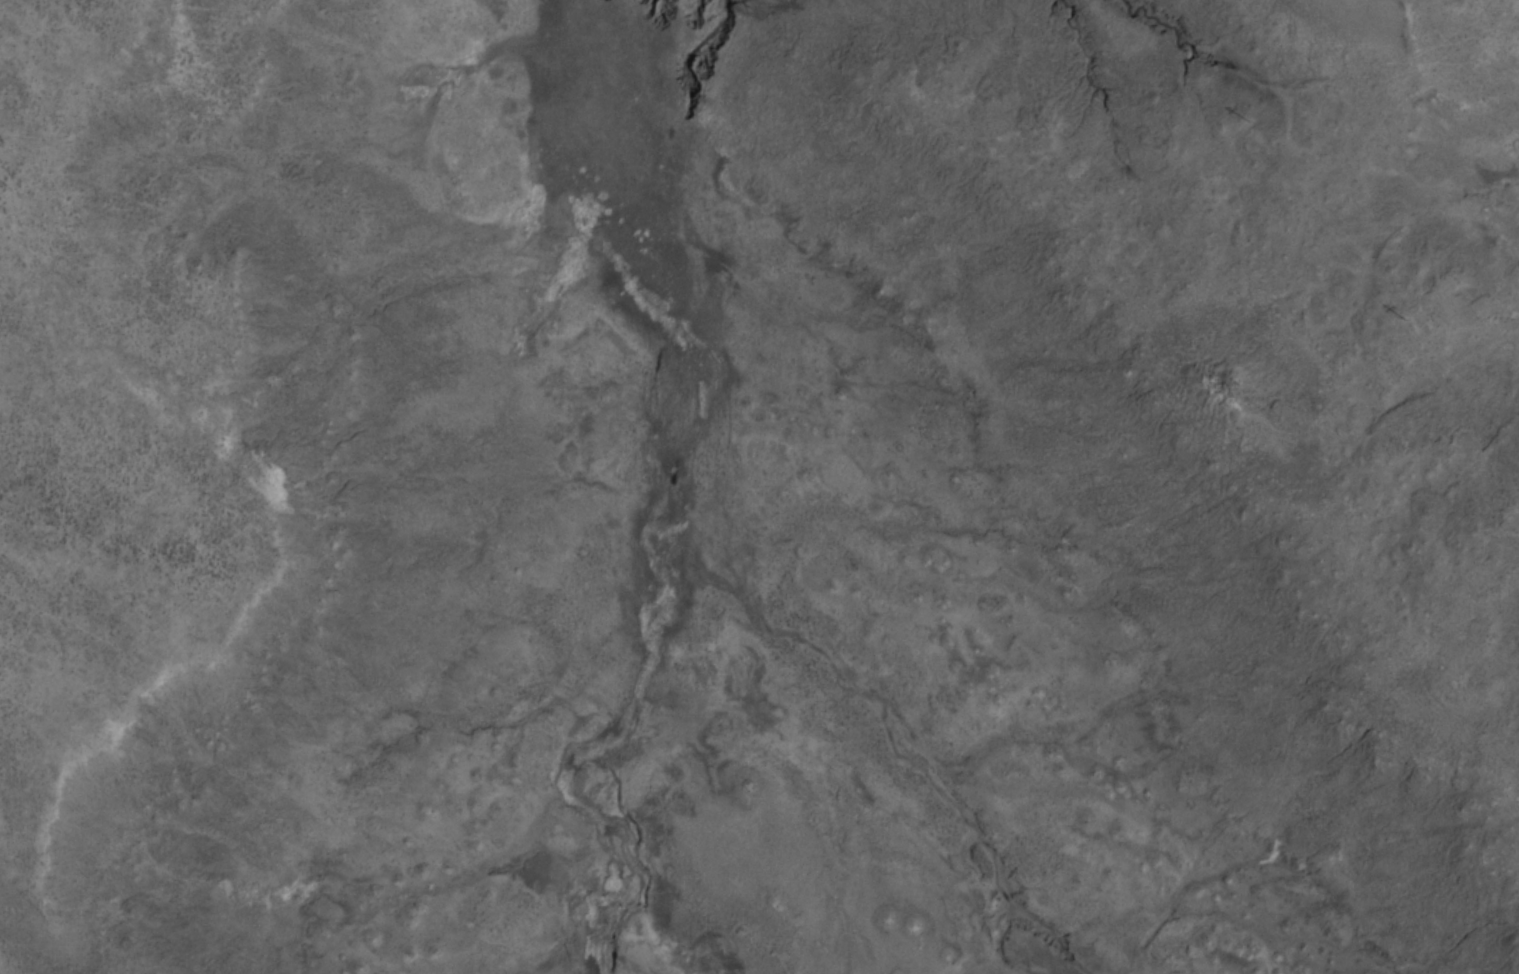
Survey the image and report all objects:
power tower: (1255, 122)
power tower: (1410, 322)

